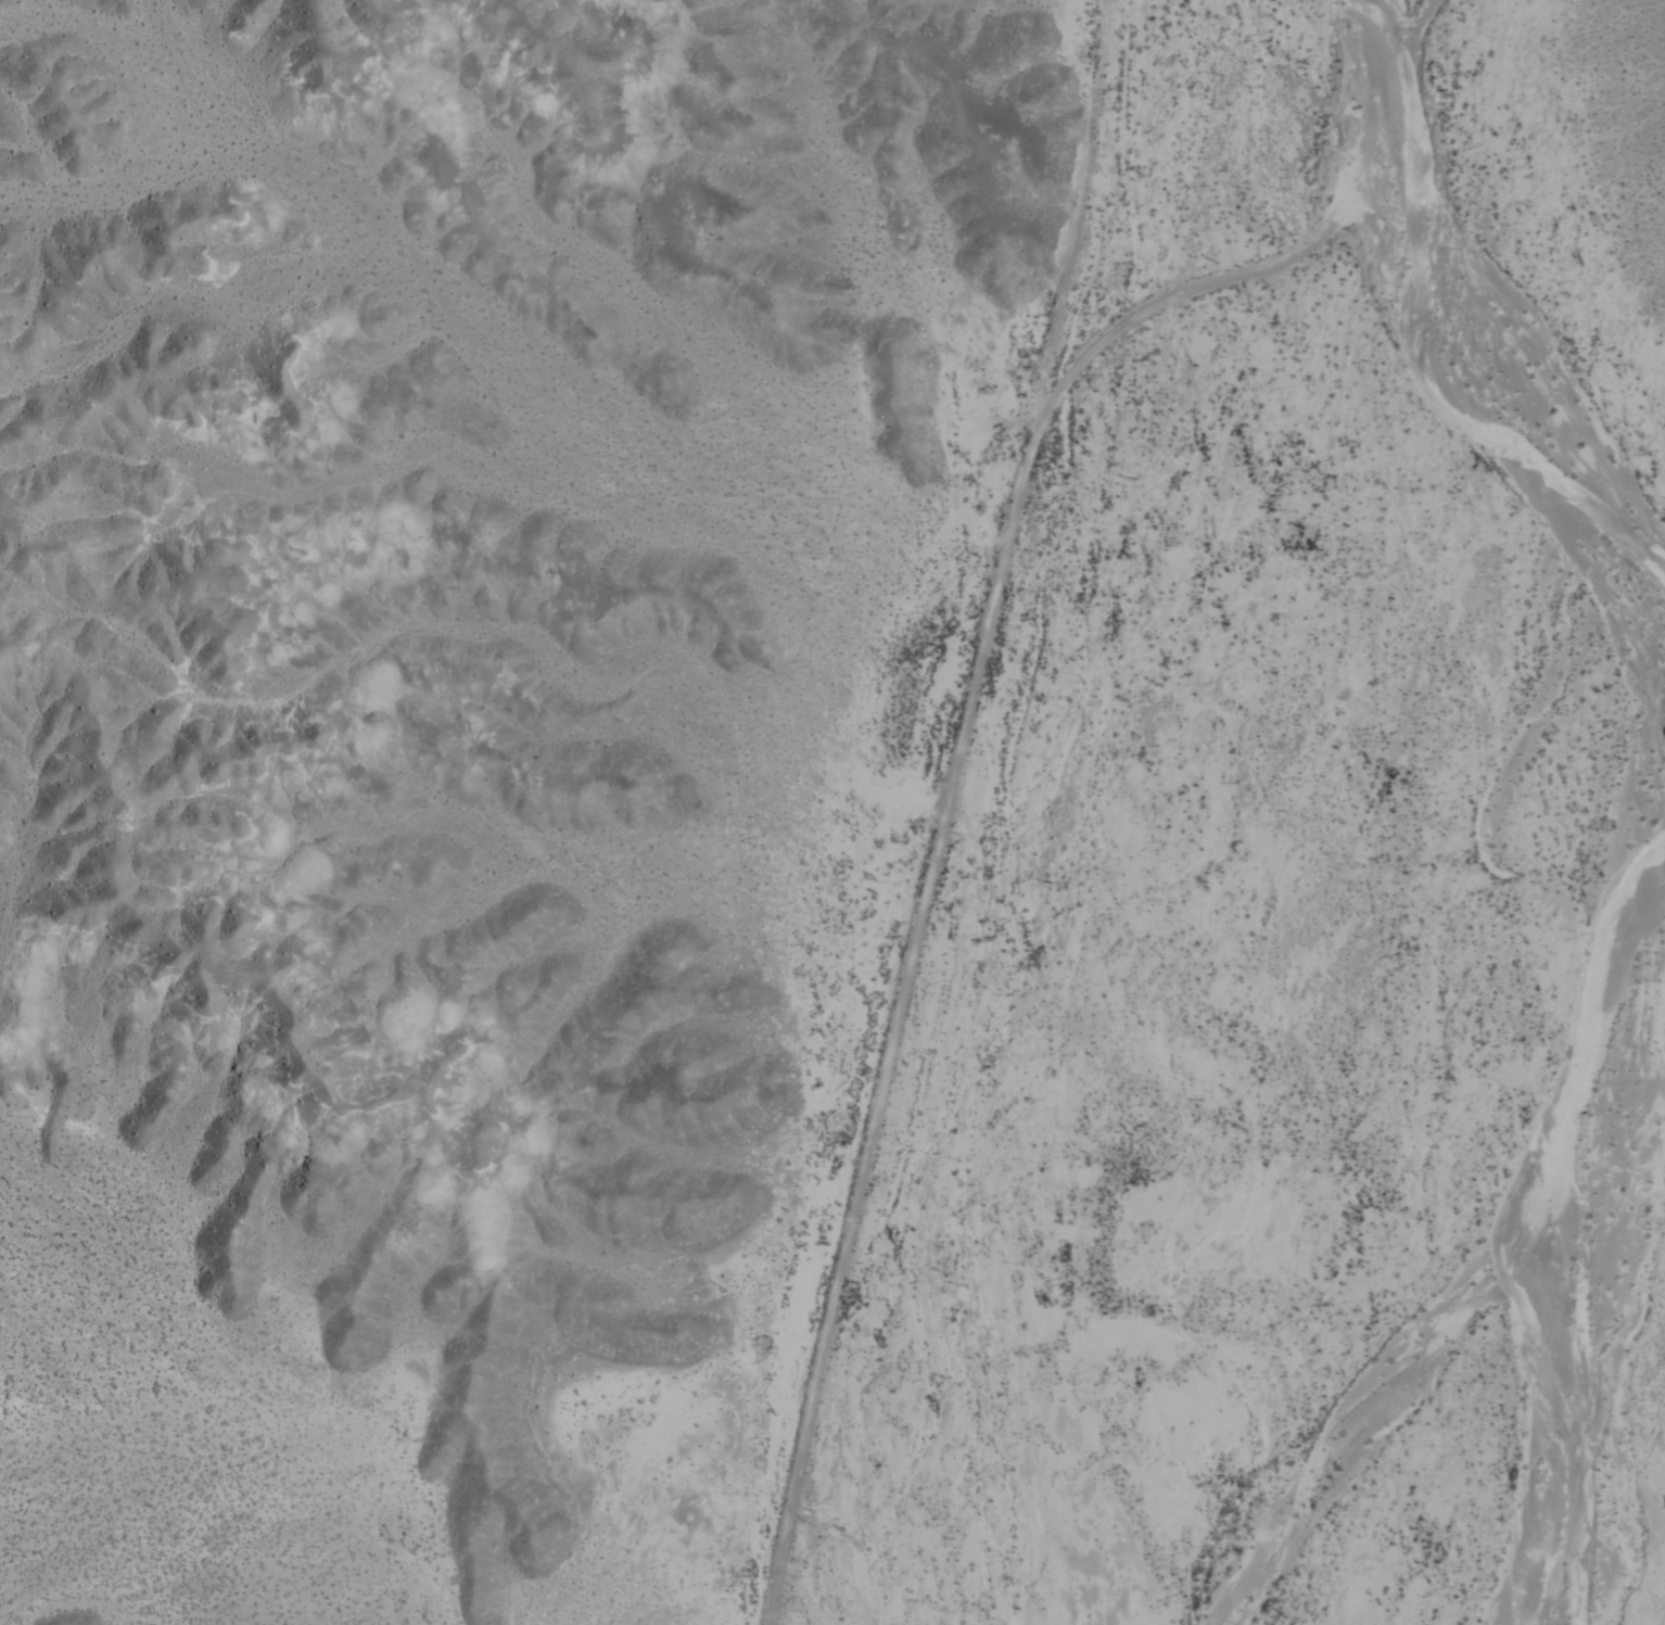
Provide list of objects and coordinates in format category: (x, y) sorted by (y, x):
river: (1500, 343)
road: (963, 721)
river: (1487, 1275)

